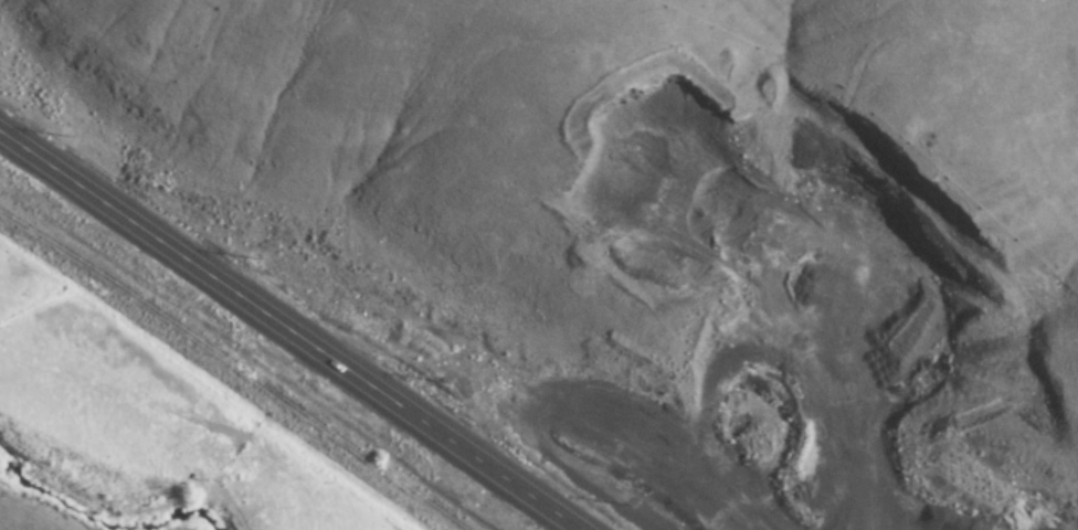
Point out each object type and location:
road: (295, 325)

